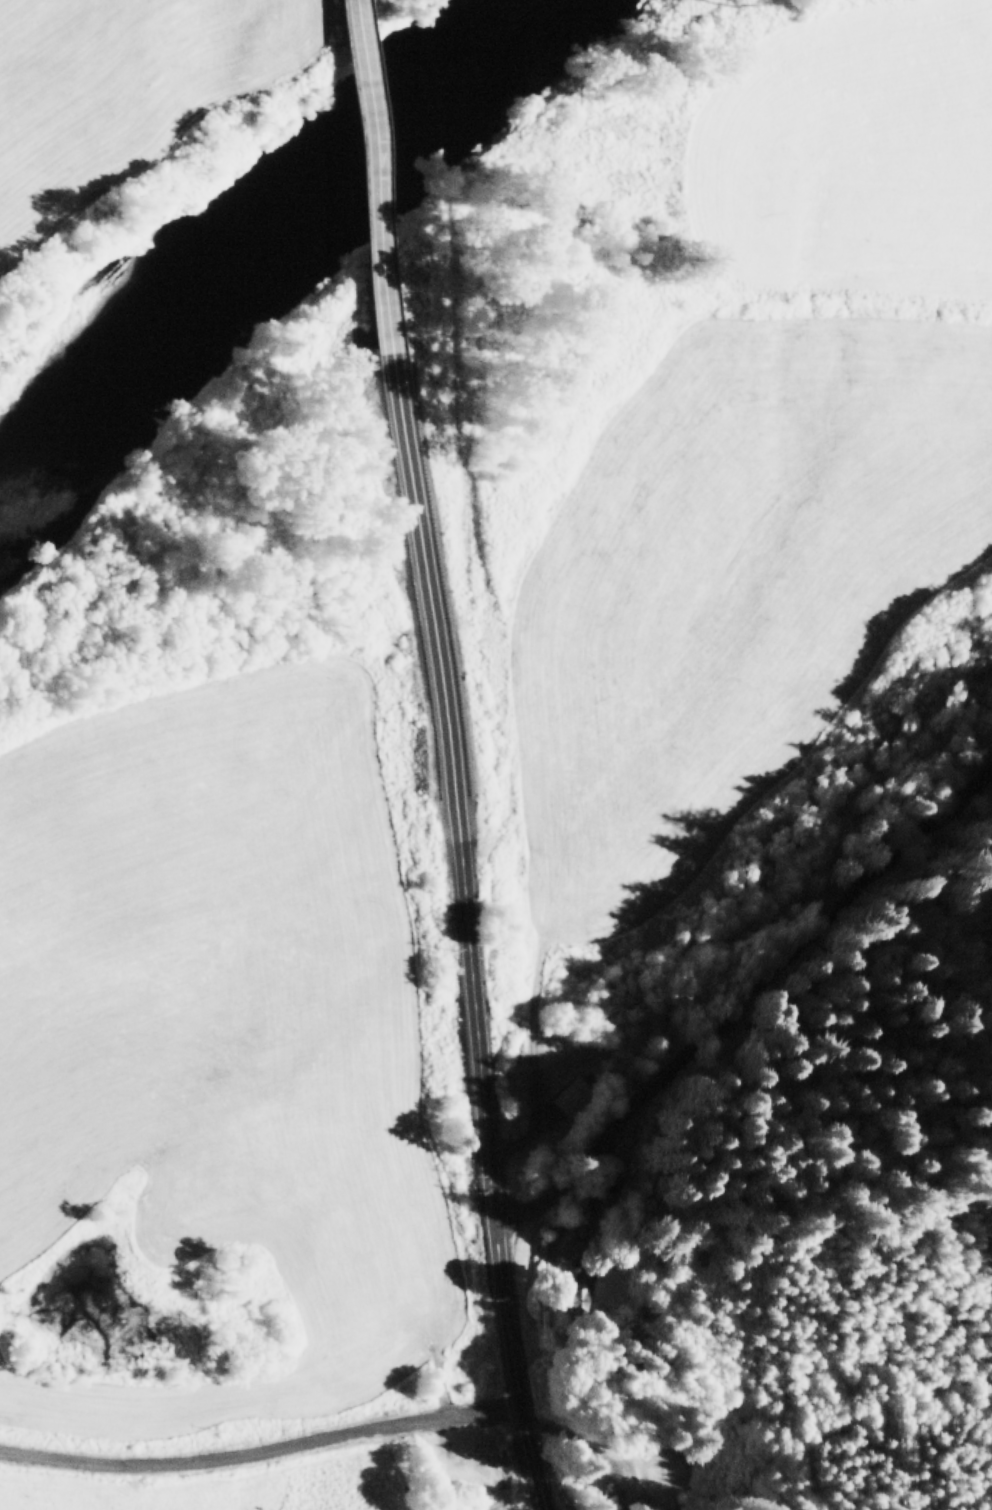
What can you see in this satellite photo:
crop: (122, 92)
road: (390, 137)
river: (262, 249)
crop: (484, 820)
road: (462, 894)
road: (751, 1032)
building: (567, 1094)
road: (260, 1446)

